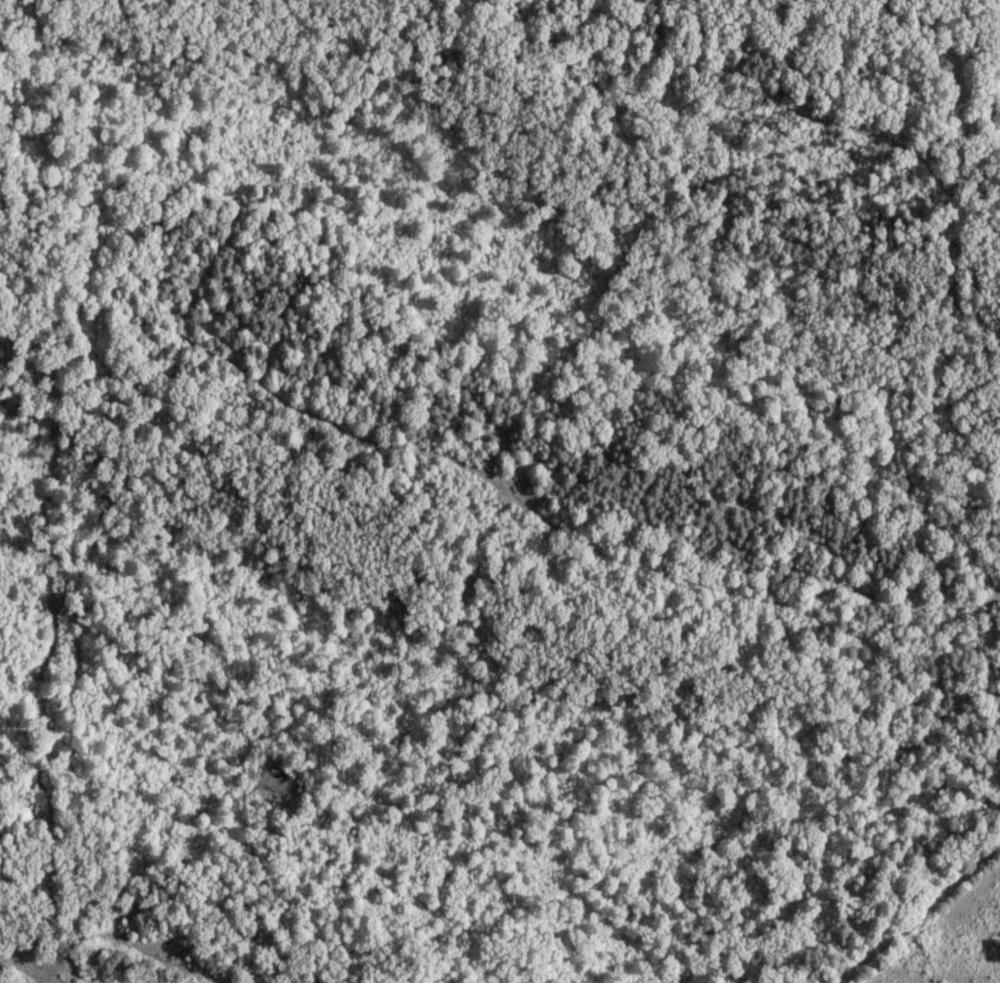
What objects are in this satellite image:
road: (903, 888)

